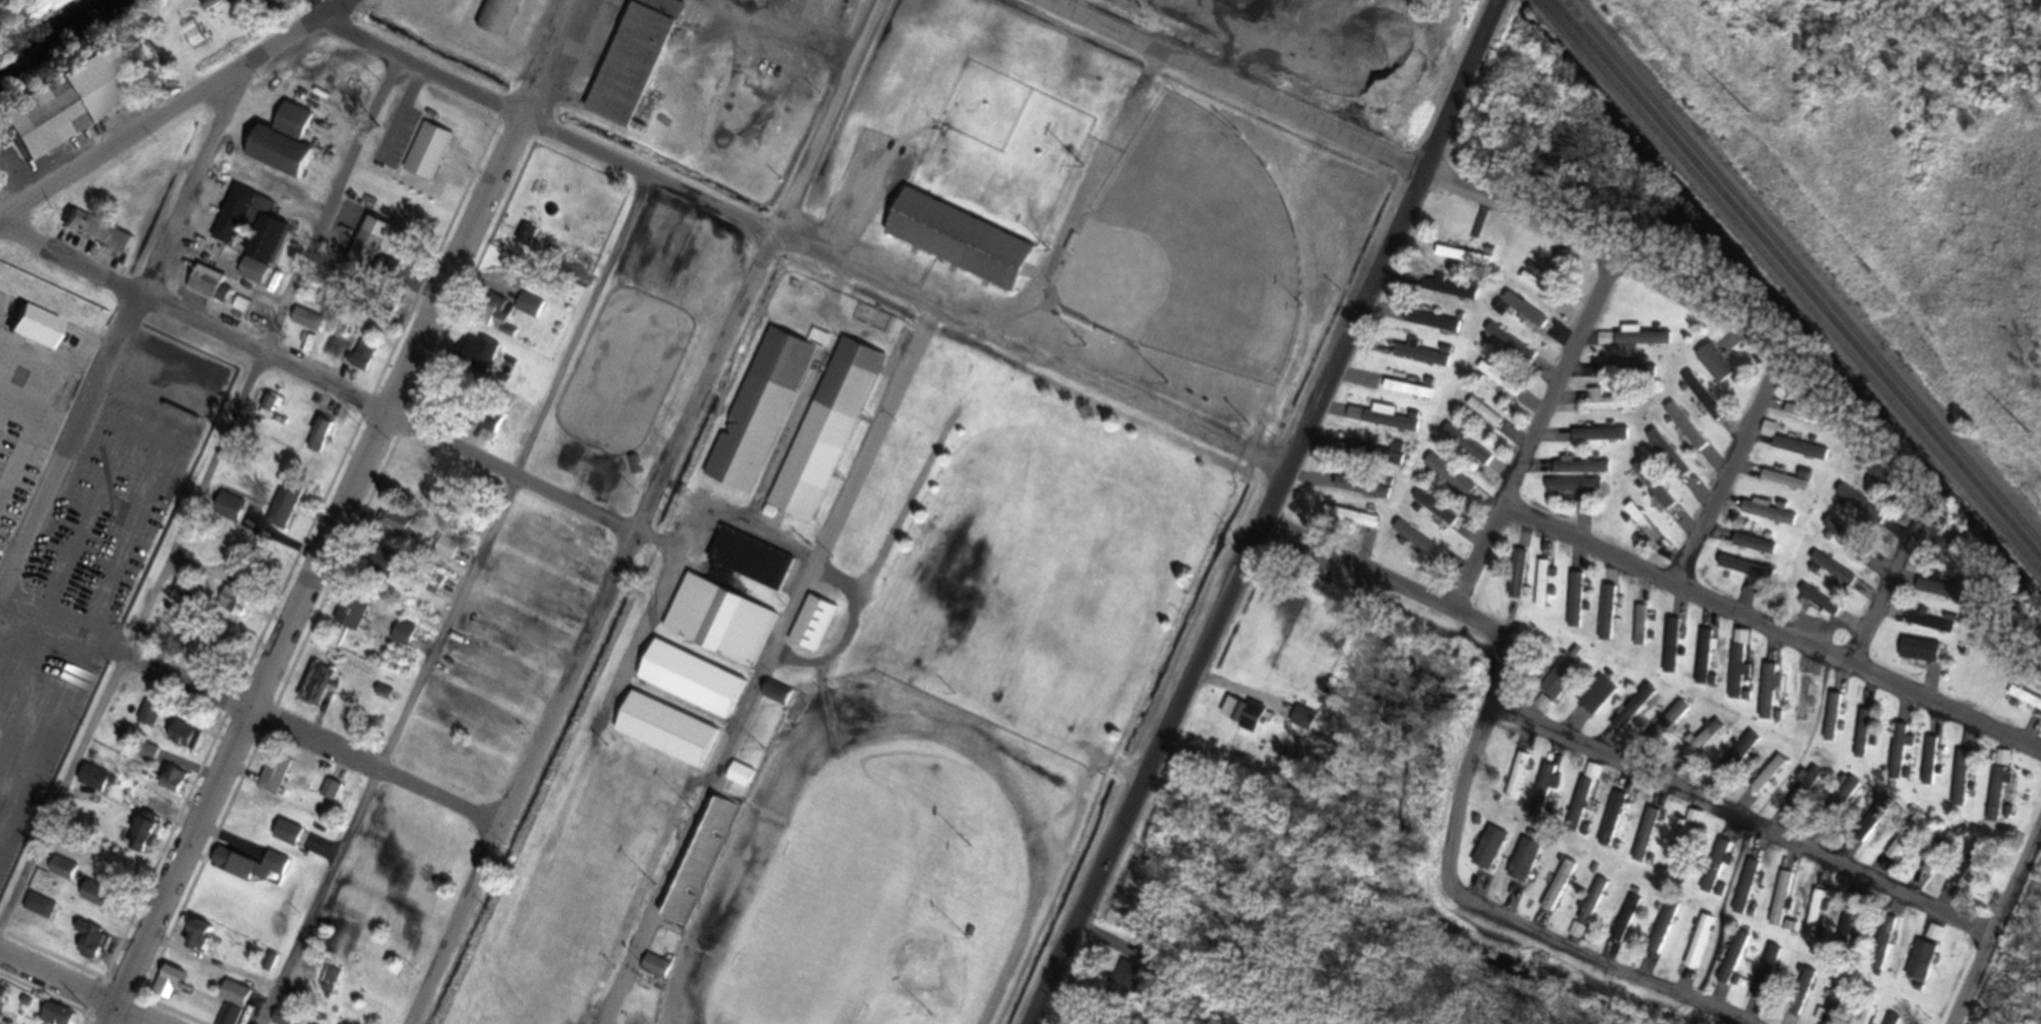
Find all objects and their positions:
building: (298, 1)
building: (276, 8)
building: (497, 19)
building: (631, 64)
road: (1232, 88)
building: (60, 108)
road: (178, 112)
power tower: (1747, 121)
building: (279, 148)
road: (665, 184)
road: (1087, 200)
building: (232, 222)
building: (95, 238)
building: (526, 245)
building: (957, 246)
building: (260, 255)
building: (363, 256)
building: (1461, 263)
railway: (1799, 274)
building: (382, 275)
railway: (1793, 282)
building: (202, 289)
railway: (1786, 289)
building: (1536, 292)
building: (1439, 293)
building: (528, 311)
building: (381, 315)
building: (1522, 316)
road: (1727, 317)
building: (494, 321)
building: (1429, 327)
building: (31, 333)
road: (128, 338)
building: (1638, 344)
building: (1517, 360)
building: (359, 361)
building: (1420, 361)
building: (1712, 369)
road: (316, 383)
building: (1497, 385)
road: (1560, 387)
building: (1407, 394)
building: (1700, 401)
building: (1601, 408)
road: (1149, 410)
building: (757, 418)
building: (1482, 418)
building: (1800, 419)
building: (1384, 428)
building: (1682, 432)
building: (824, 437)
building: (320, 441)
building: (1595, 441)
power tower: (2029, 442)
building: (1464, 451)
building: (1798, 454)
building: (1665, 459)
building: (1578, 473)
building: (1447, 481)
building: (1786, 485)
building: (1652, 491)
building: (1570, 492)
building: (1360, 494)
road: (204, 496)
park: (900, 508)
building: (283, 509)
road: (341, 510)
building: (1859, 510)
road: (645, 513)
road: (1268, 513)
building: (1433, 514)
building: (1767, 518)
building: (1349, 523)
building: (395, 527)
building: (1640, 528)
building: (1751, 550)
building: (1421, 552)
building: (443, 554)
road: (1625, 565)
building: (748, 566)
building: (378, 567)
building: (1741, 574)
building: (1831, 574)
building: (1515, 580)
building: (428, 588)
road: (1878, 588)
building: (1541, 590)
road: (457, 601)
building: (1573, 606)
building: (1817, 606)
building: (233, 609)
building: (350, 616)
building: (1605, 619)
building: (718, 628)
road: (1483, 628)
building: (810, 631)
building: (1638, 631)
building: (401, 640)
building: (219, 651)
building: (1669, 651)
building: (1917, 656)
building: (1703, 662)
road: (765, 666)
building: (1735, 670)
building: (689, 685)
building: (1556, 687)
building: (313, 691)
building: (1766, 697)
building: (1594, 702)
building: (1801, 704)
road: (251, 712)
building: (1630, 714)
building: (147, 720)
building: (1246, 720)
building: (1831, 723)
building: (1666, 728)
road: (44, 735)
building: (664, 735)
building: (1860, 739)
building: (181, 743)
building: (1702, 746)
building: (1740, 756)
building: (1897, 757)
building: (146, 759)
building: (2002, 764)
building: (1928, 766)
building: (738, 780)
building: (1767, 780)
building: (1516, 782)
building: (1959, 784)
building: (169, 786)
building: (1801, 794)
building: (328, 796)
building: (1541, 797)
building: (1995, 797)
building: (1841, 801)
building: (1581, 804)
building: (1610, 824)
building: (1871, 825)
road: (1746, 827)
building: (1643, 840)
building: (1905, 842)
building: (1948, 848)
building: (141, 850)
building: (1682, 850)
building: (1487, 854)
building: (1522, 866)
building: (231, 870)
building: (273, 870)
building: (1714, 870)
building: (1929, 871)
building: (60, 875)
building: (1956, 879)
building: (1561, 884)
building: (1744, 893)
building: (96, 901)
building: (1780, 905)
building: (1590, 908)
building: (37, 911)
building: (1814, 920)
road: (1506, 924)
building: (1624, 925)
road: (1997, 925)
building: (1661, 933)
building: (1844, 937)
building: (1933, 937)
building: (195, 943)
building: (88, 946)
building: (1698, 948)
building: (1882, 948)
building: (1731, 964)
building: (1919, 967)
building: (653, 972)
building: (329, 985)
road: (73, 989)
building: (166, 989)
building: (1800, 998)
building: (234, 1007)
building: (1831, 1011)
building: (52, 1018)
building: (1867, 1018)
building: (632, 1020)

